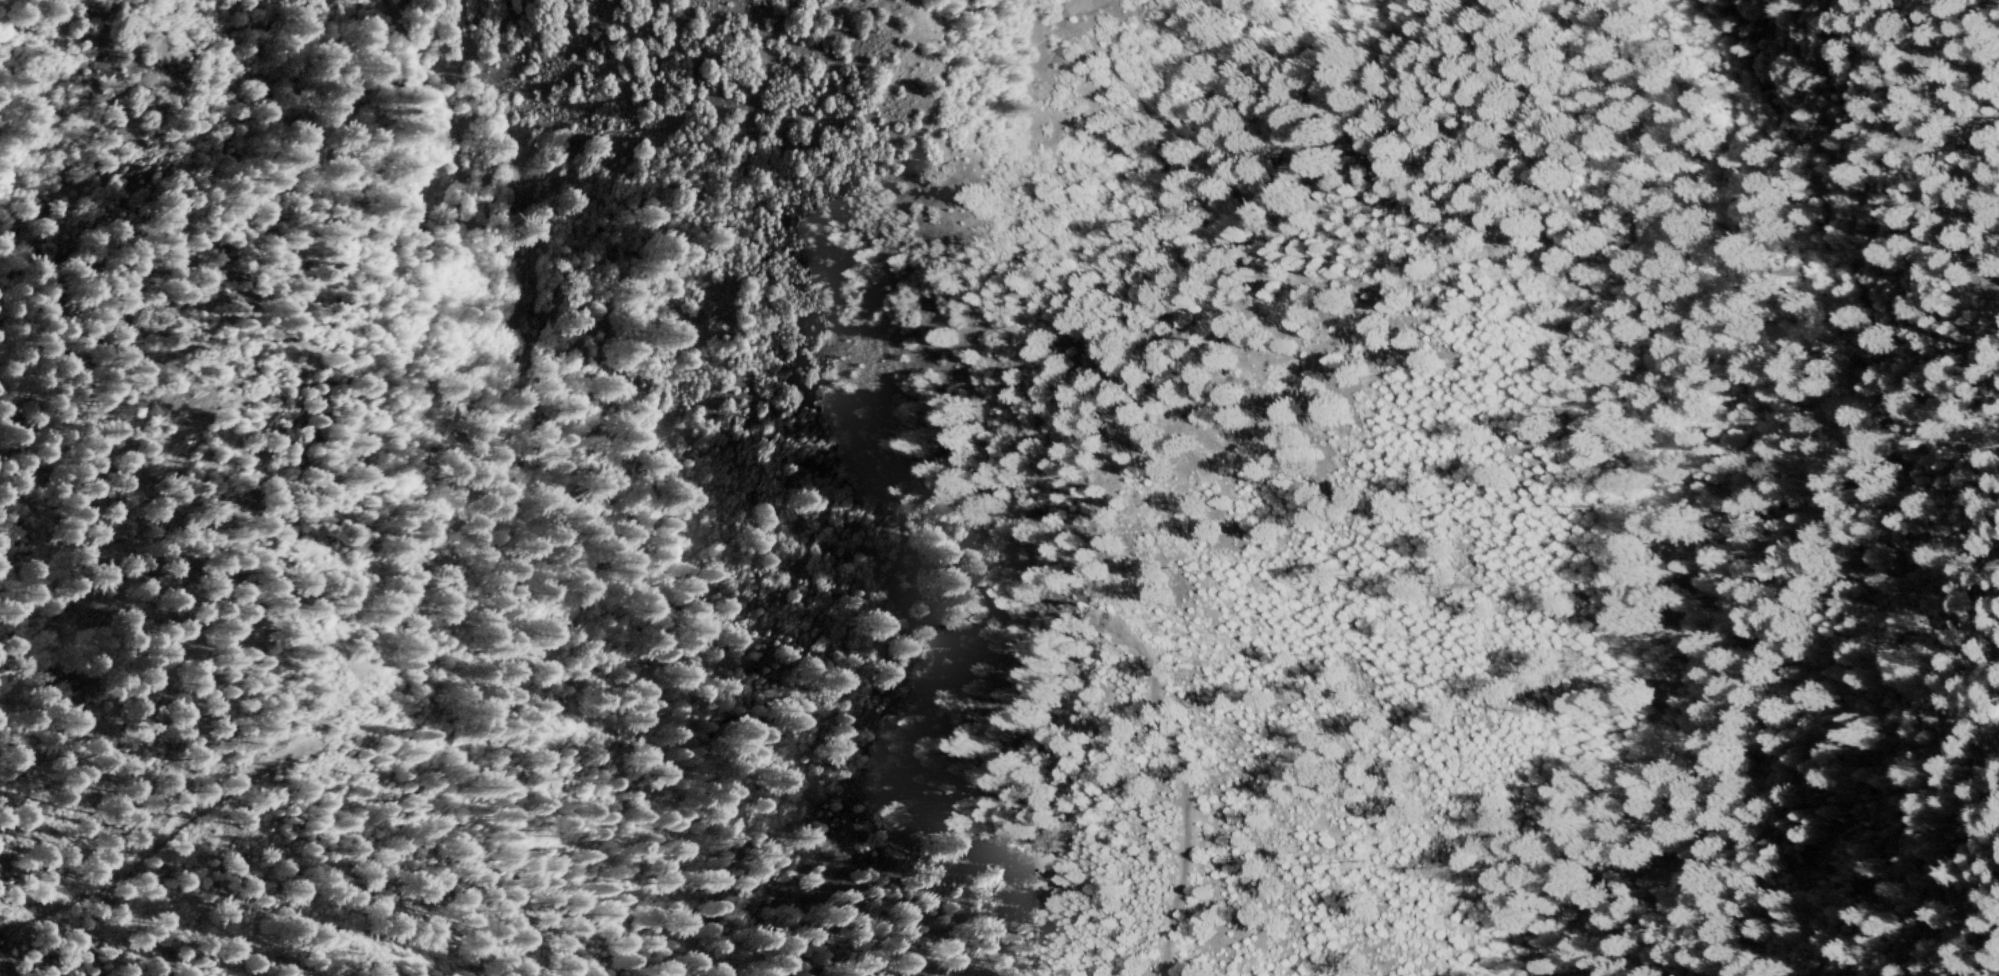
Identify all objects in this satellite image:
road: (1931, 863)

